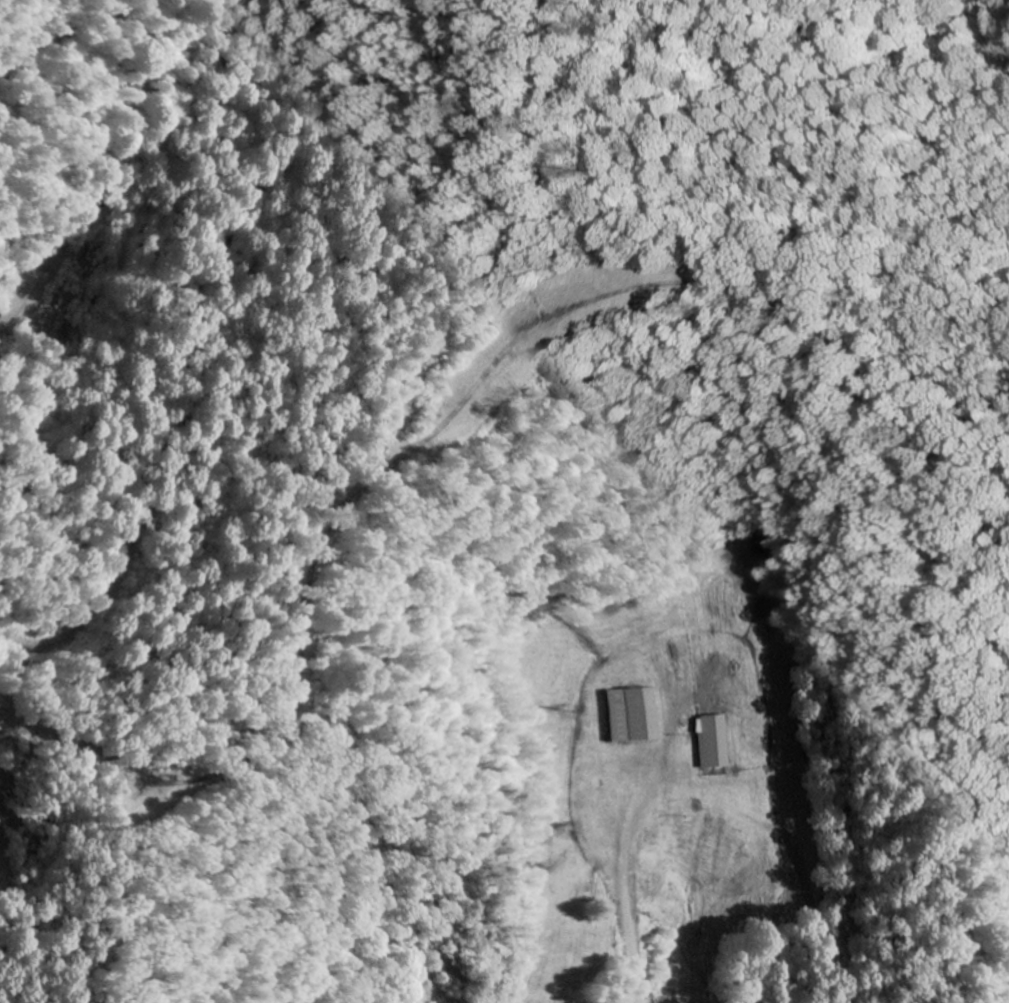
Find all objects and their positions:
building: (621, 716)
building: (699, 742)

